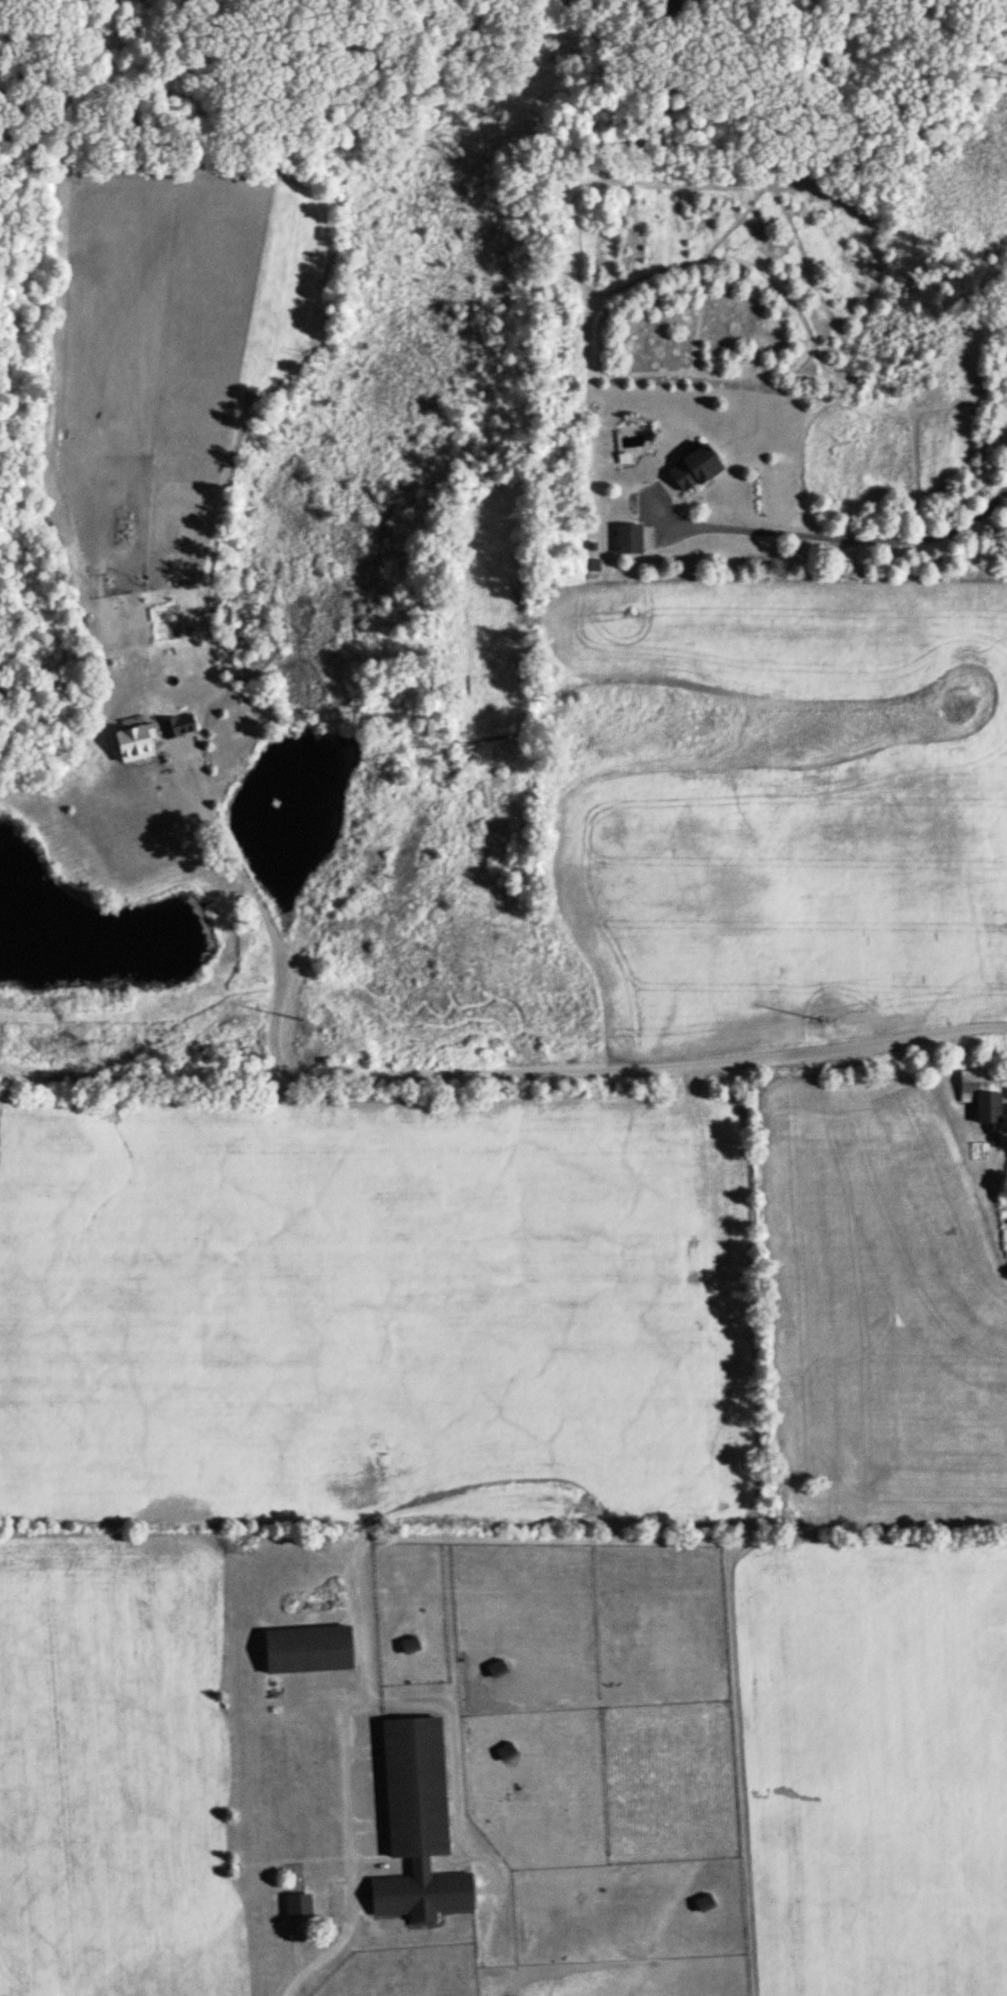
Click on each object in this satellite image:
building: (672, 1)
building: (692, 466)
building: (626, 536)
road: (849, 537)
building: (176, 723)
building: (133, 740)
crop: (792, 810)
power tower: (824, 1017)
power tower: (304, 1018)
road: (484, 1072)
building: (980, 1091)
crop: (369, 1302)
crop: (879, 1309)
building: (408, 1643)
building: (306, 1647)
building: (495, 1666)
building: (505, 1749)
crop: (877, 1766)
crop: (115, 1768)
building: (415, 1822)
road: (345, 1839)
building: (703, 1900)
building: (296, 1903)

